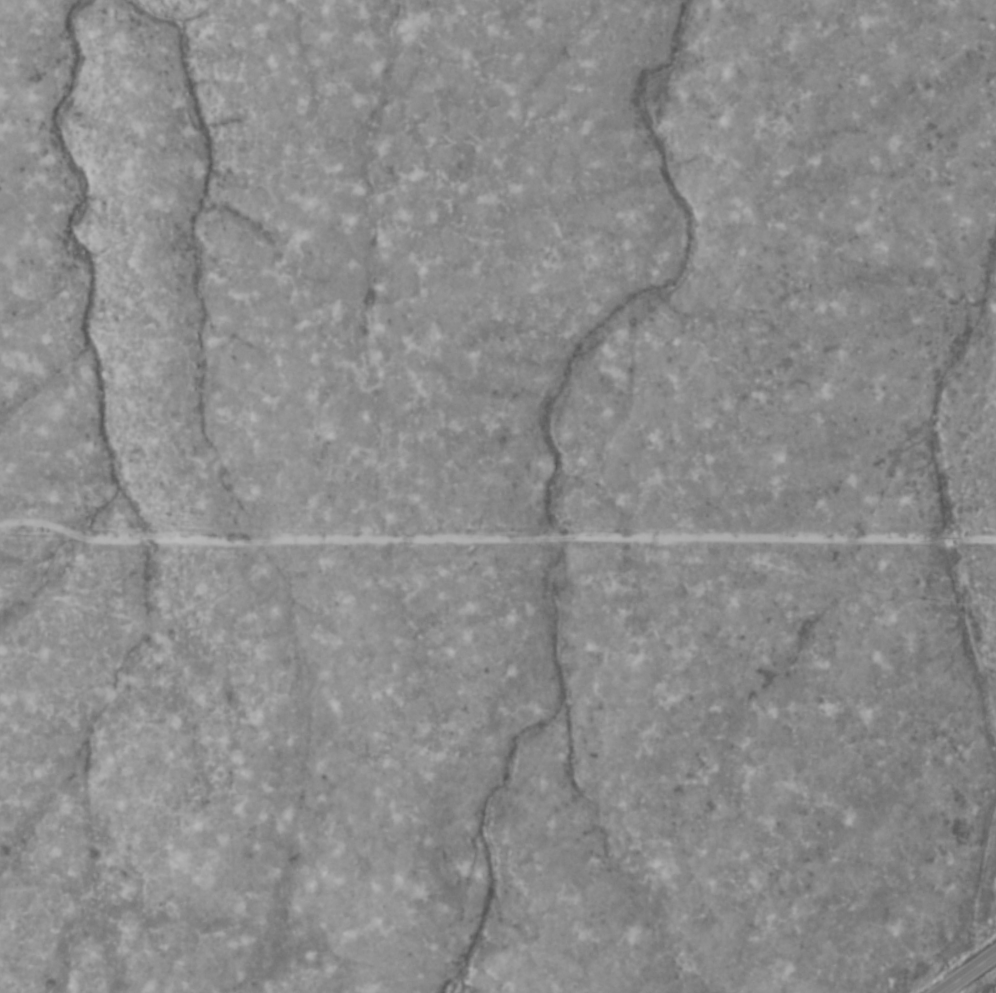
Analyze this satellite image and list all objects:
road: (977, 981)

